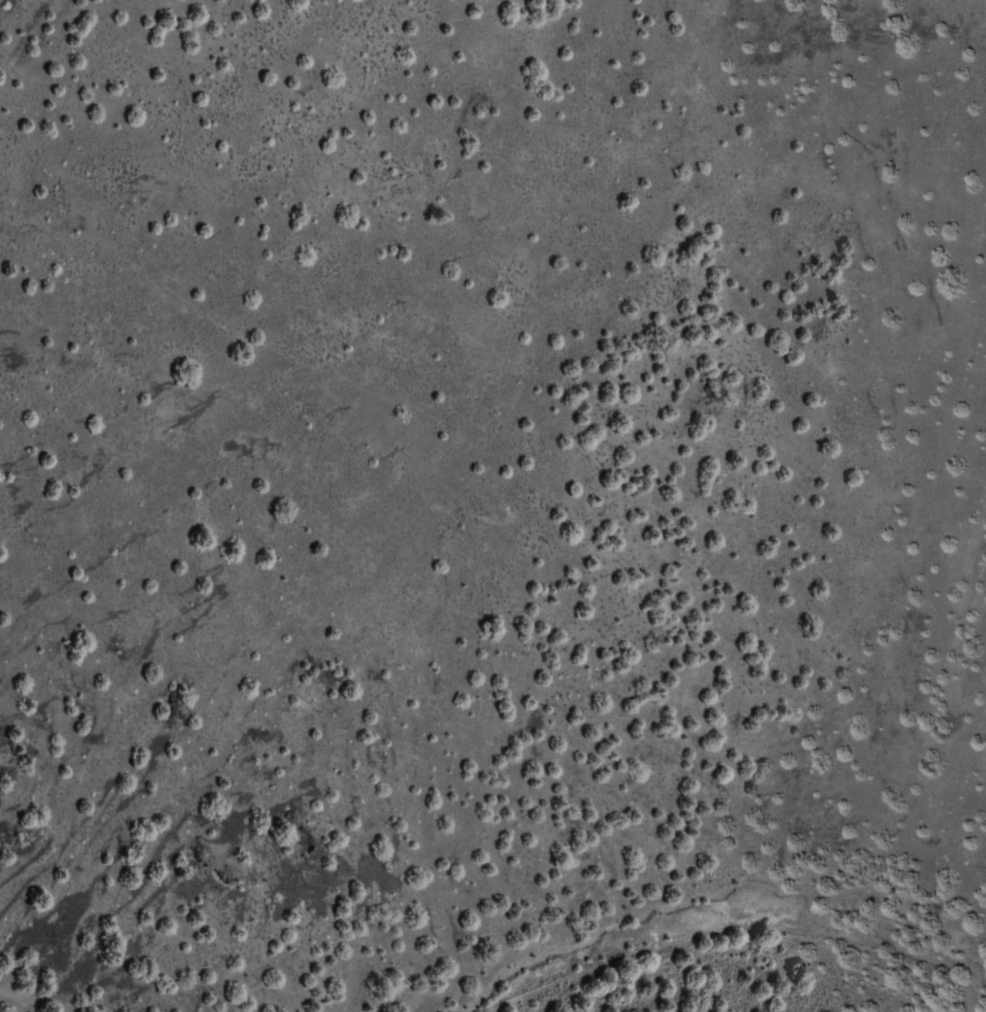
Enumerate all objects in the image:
road: (744, 928)

